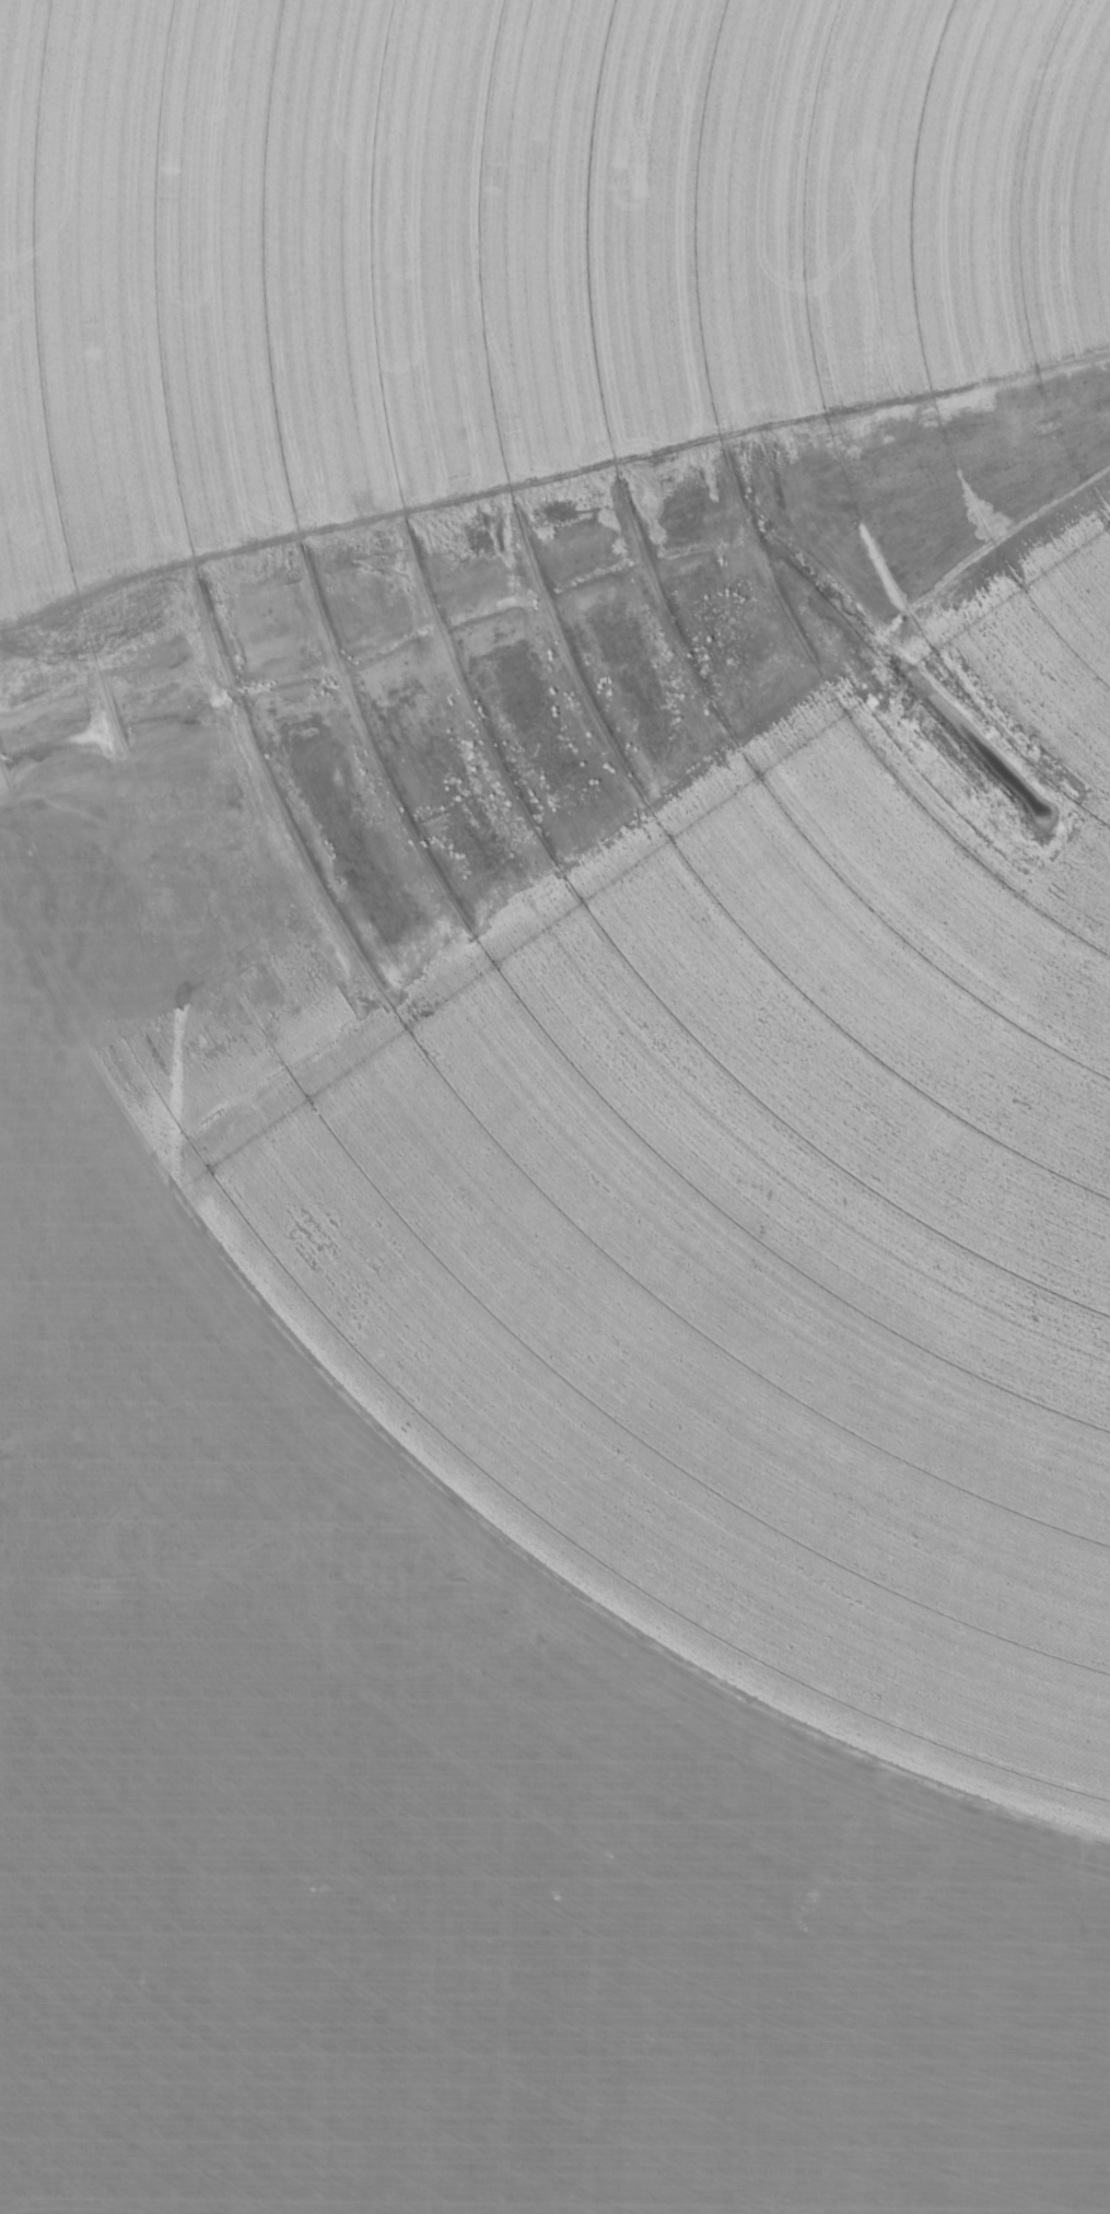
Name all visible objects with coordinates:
road: (972, 31)

